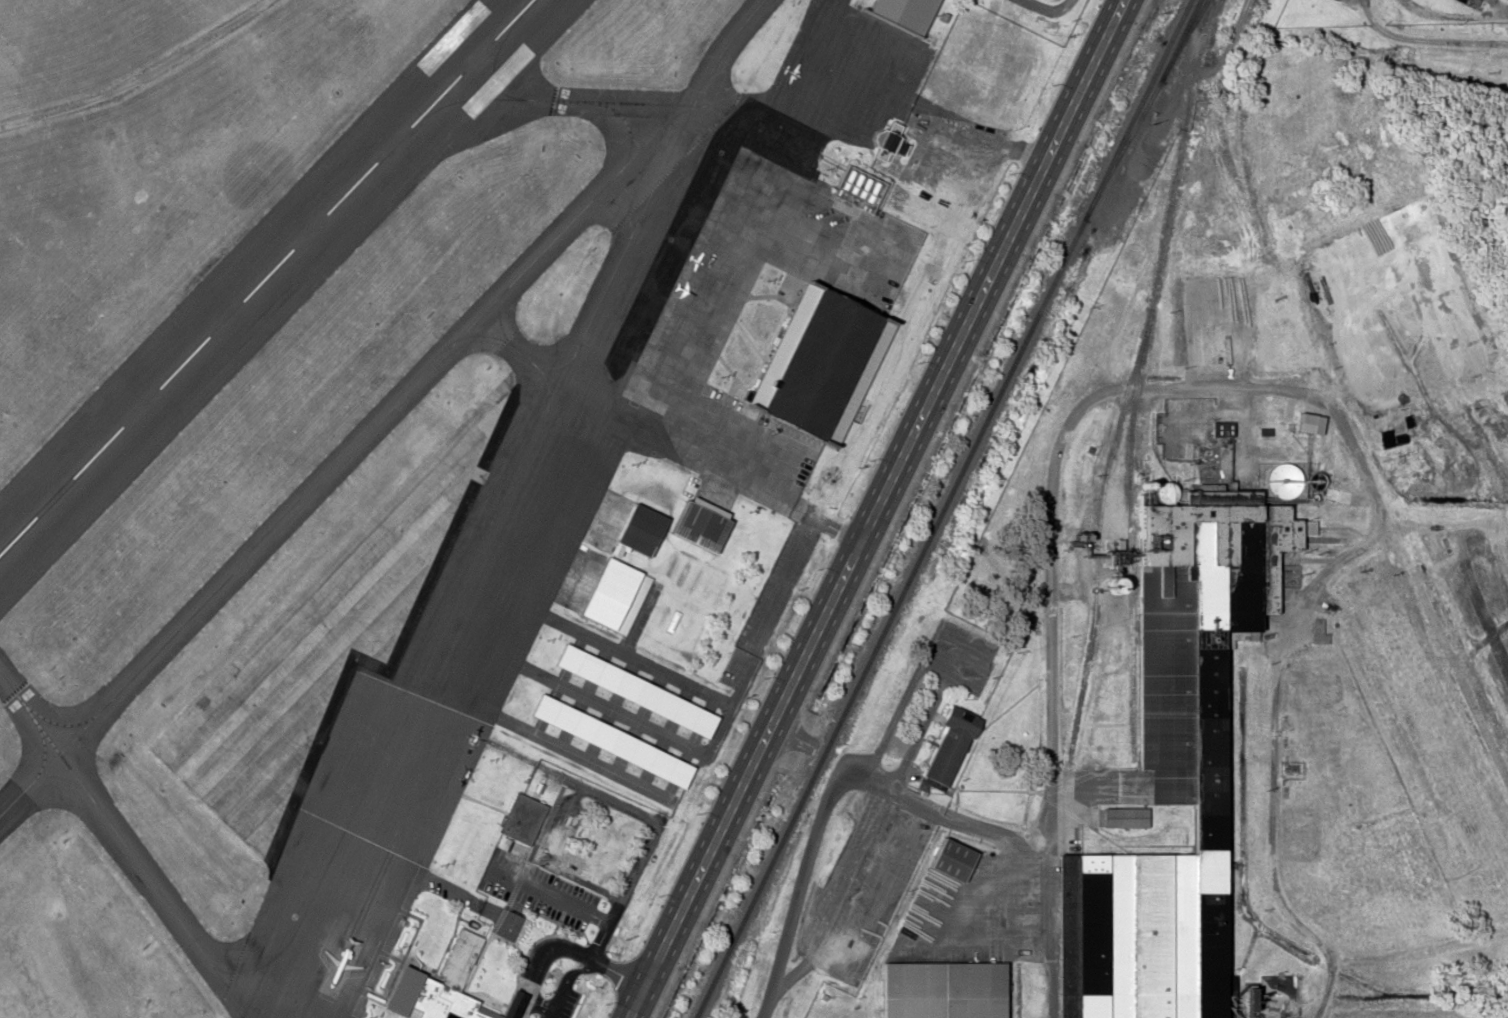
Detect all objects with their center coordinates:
wastewater plant: (1388, 11)
airport hangar: (903, 14)
building: (903, 14)
railway: (1180, 39)
airport taxiway: (706, 78)
airport taxiway: (555, 102)
railway: (1135, 109)
railway: (1145, 109)
building: (887, 137)
road: (992, 138)
railway: (1223, 145)
building: (927, 212)
airport runway: (263, 275)
airport hangar: (824, 363)
building: (824, 363)
railway: (1140, 375)
building: (1219, 428)
airport taxiway: (344, 456)
airport: (432, 458)
road: (875, 508)
airport hangar: (701, 524)
building: (701, 524)
road: (831, 526)
airport hangar: (642, 528)
building: (642, 528)
airport hangar: (617, 596)
building: (617, 596)
railway: (889, 618)
airport hangar: (637, 691)
building: (637, 691)
building: (1194, 692)
airport hangar: (612, 740)
building: (612, 740)
building: (947, 744)
airport taxiway: (379, 758)
building: (1123, 817)
building: (519, 818)
road: (647, 844)
road: (552, 854)
building: (945, 858)
parking lot: (550, 878)
road: (552, 896)
building: (1106, 938)
road: (562, 946)
road: (569, 973)
building: (939, 989)
airport terminal: (445, 990)
building: (445, 990)
road: (538, 1001)
parking lot: (553, 1001)
road: (548, 1012)

